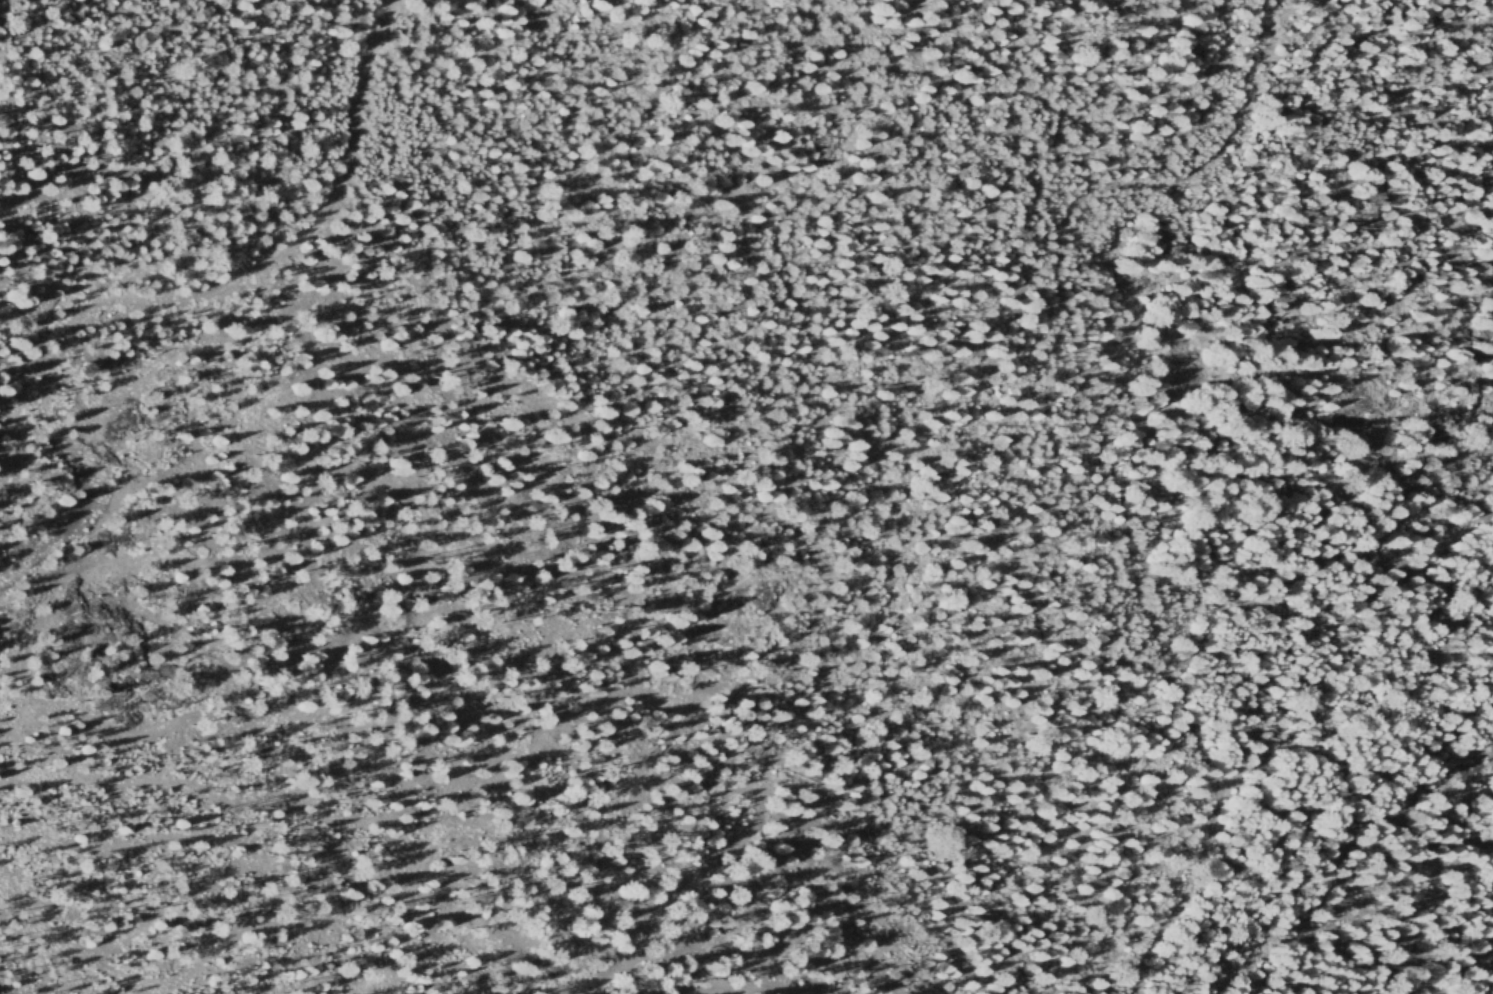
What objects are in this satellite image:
road: (150, 301)

